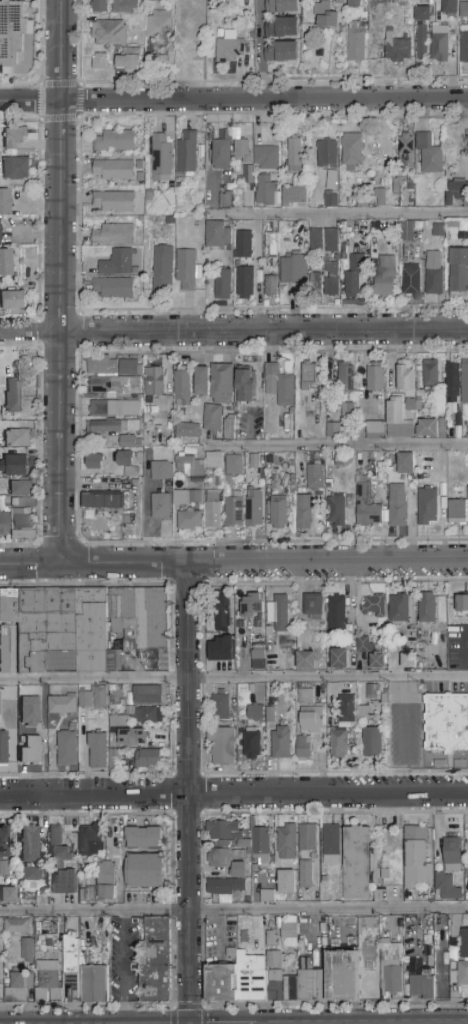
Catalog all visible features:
building: (338, 0)
building: (353, 3)
building: (100, 6)
building: (126, 6)
building: (282, 6)
building: (449, 8)
building: (464, 9)
building: (422, 14)
building: (327, 20)
building: (160, 24)
building: (281, 27)
building: (109, 33)
building: (15, 39)
building: (356, 41)
building: (420, 41)
building: (439, 44)
building: (464, 45)
building: (228, 48)
building: (398, 48)
building: (196, 49)
building: (165, 50)
building: (281, 52)
road: (260, 54)
building: (129, 60)
road: (41, 62)
building: (99, 62)
road: (273, 78)
road: (234, 101)
road: (78, 117)
road: (389, 118)
building: (14, 137)
building: (115, 141)
building: (406, 149)
building: (241, 150)
building: (352, 150)
building: (185, 153)
building: (221, 154)
building: (327, 154)
building: (295, 155)
building: (429, 155)
building: (161, 158)
building: (266, 158)
building: (16, 168)
building: (113, 170)
building: (331, 179)
building: (266, 190)
building: (456, 191)
building: (295, 193)
building: (380, 196)
building: (330, 199)
building: (225, 200)
building: (4, 202)
building: (114, 202)
road: (340, 214)
road: (37, 217)
building: (438, 229)
building: (407, 231)
building: (113, 235)
building: (218, 235)
building: (316, 239)
building: (331, 241)
building: (244, 245)
building: (270, 246)
building: (5, 262)
building: (117, 262)
building: (294, 269)
building: (458, 269)
building: (162, 270)
building: (187, 270)
building: (434, 273)
building: (385, 275)
building: (353, 277)
building: (316, 280)
building: (411, 280)
road: (60, 281)
building: (245, 283)
building: (331, 283)
building: (222, 284)
building: (271, 286)
building: (114, 288)
road: (78, 292)
building: (13, 300)
road: (77, 331)
road: (234, 331)
road: (37, 332)
road: (271, 352)
building: (103, 365)
building: (129, 367)
building: (430, 373)
building: (309, 376)
building: (375, 377)
building: (346, 379)
building: (154, 381)
building: (202, 381)
building: (464, 382)
building: (453, 383)
building: (222, 384)
building: (246, 385)
building: (279, 386)
building: (114, 387)
building: (183, 388)
building: (13, 396)
building: (115, 408)
building: (406, 408)
building: (347, 411)
building: (212, 418)
building: (230, 429)
building: (333, 430)
building: (120, 431)
building: (188, 431)
building: (375, 431)
building: (18, 437)
road: (38, 444)
road: (339, 446)
road: (77, 447)
building: (214, 460)
building: (127, 461)
building: (95, 462)
building: (14, 463)
building: (405, 463)
building: (191, 467)
building: (232, 470)
building: (160, 471)
building: (315, 477)
building: (21, 488)
building: (195, 497)
building: (105, 501)
building: (397, 505)
building: (161, 506)
building: (366, 506)
building: (427, 506)
building: (254, 507)
building: (213, 509)
building: (336, 510)
building: (233, 511)
building: (278, 512)
building: (303, 512)
building: (457, 512)
building: (189, 519)
road: (142, 521)
building: (4, 524)
building: (21, 524)
road: (384, 524)
road: (274, 541)
road: (59, 543)
road: (326, 561)
road: (40, 562)
road: (80, 562)
road: (122, 563)
road: (30, 564)
building: (463, 604)
building: (252, 605)
building: (313, 606)
building: (373, 606)
building: (427, 608)
building: (399, 609)
building: (222, 613)
building: (279, 613)
building: (336, 613)
building: (80, 629)
building: (452, 640)
building: (363, 645)
building: (285, 652)
building: (338, 659)
building: (258, 660)
building: (306, 660)
building: (376, 661)
building: (408, 661)
road: (234, 679)
building: (372, 692)
building: (148, 695)
building: (306, 696)
building: (93, 698)
building: (62, 705)
building: (220, 706)
building: (347, 708)
building: (30, 712)
building: (255, 712)
building: (268, 712)
building: (363, 713)
building: (149, 715)
building: (311, 720)
road: (404, 720)
building: (117, 721)
building: (446, 723)
building: (133, 737)
building: (372, 742)
building: (280, 743)
building: (339, 743)
building: (252, 744)
building: (222, 746)
building: (3, 747)
building: (67, 748)
building: (304, 748)
building: (31, 750)
building: (100, 752)
building: (148, 758)
road: (187, 793)
road: (233, 793)
building: (223, 831)
building: (143, 838)
building: (295, 839)
building: (55, 840)
building: (4, 841)
building: (91, 841)
building: (29, 844)
building: (260, 844)
building: (331, 844)
building: (238, 854)
building: (417, 857)
building: (226, 861)
building: (357, 863)
building: (4, 868)
building: (146, 871)
building: (449, 871)
building: (29, 874)
building: (305, 875)
building: (107, 881)
building: (286, 882)
building: (226, 887)
building: (8, 894)
building: (87, 896)
building: (267, 896)
road: (234, 910)
building: (465, 920)
building: (386, 924)
building: (71, 925)
building: (17, 926)
building: (289, 930)
building: (42, 939)
building: (272, 939)
building: (288, 941)
building: (55, 943)
building: (48, 944)
building: (464, 944)
building: (27, 950)
building: (0, 957)
building: (156, 960)
building: (391, 964)
building: (71, 967)
road: (121, 968)
building: (460, 975)
building: (343, 976)
building: (247, 979)
building: (48, 983)
building: (416, 983)
building: (94, 984)
building: (308, 986)
building: (322, 986)
building: (428, 986)
building: (19, 989)
building: (291, 989)

